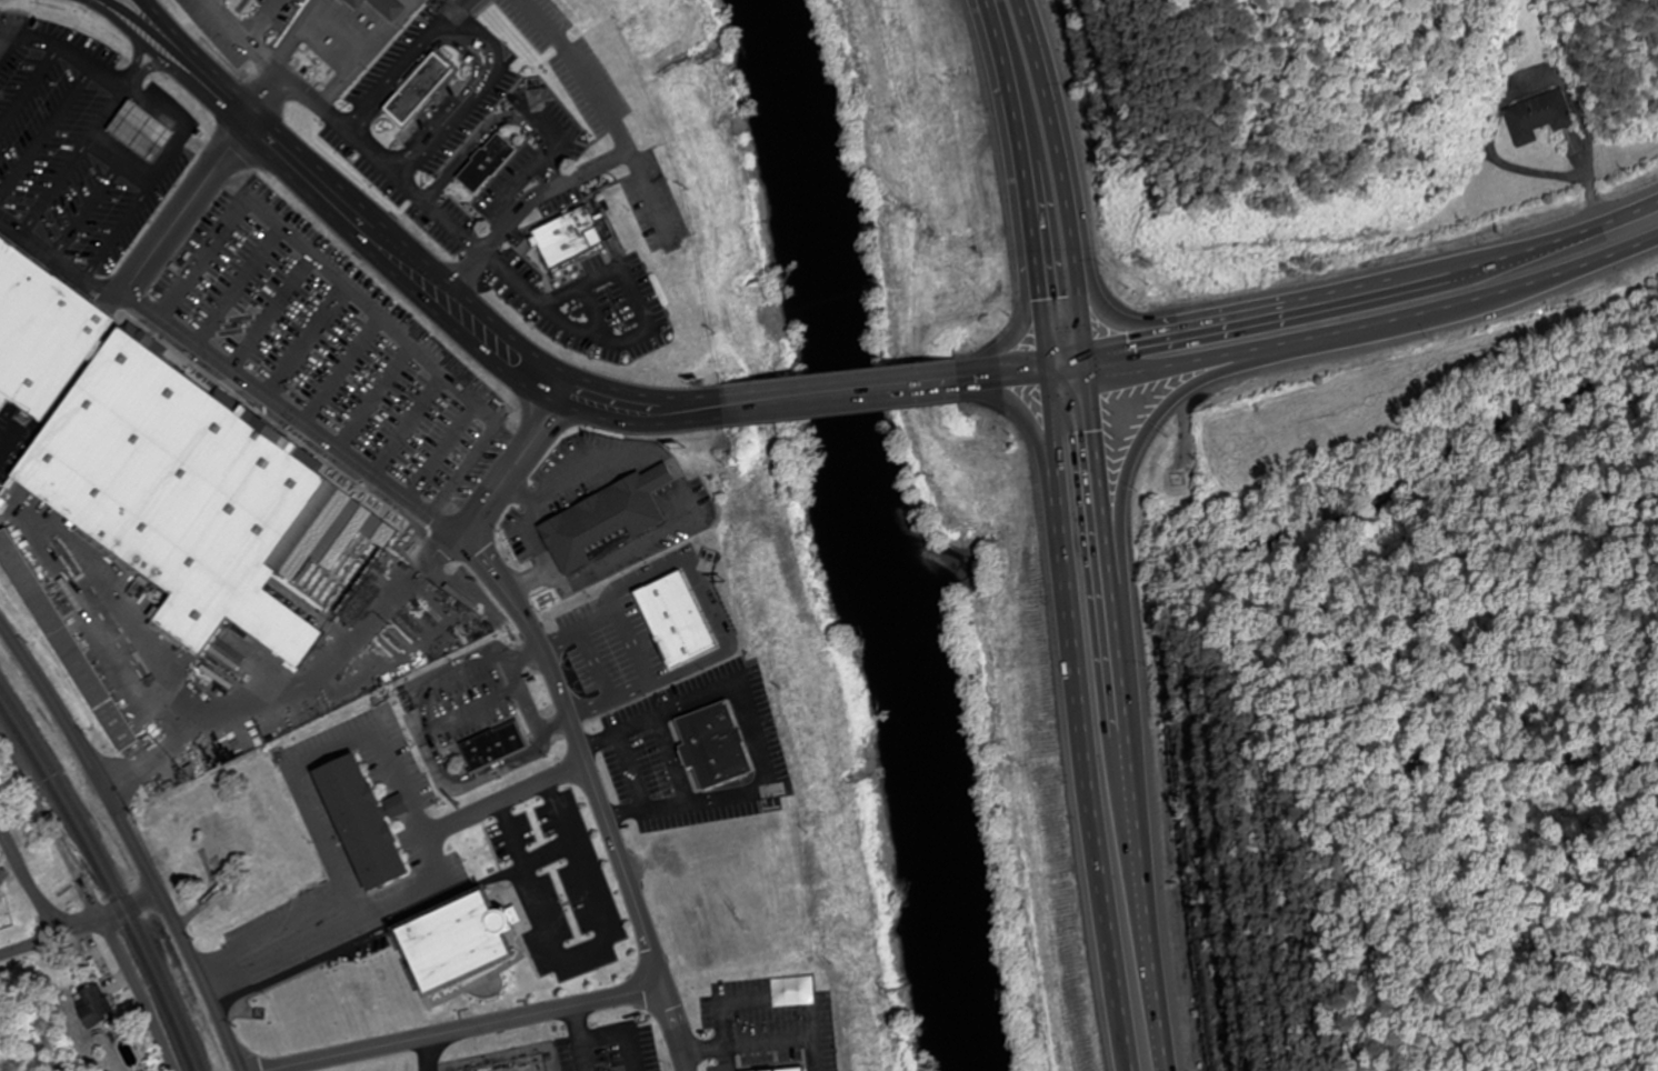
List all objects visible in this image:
building: (384, 10)
road: (459, 10)
road: (262, 20)
road: (169, 26)
road: (298, 33)
road: (1, 39)
road: (139, 41)
road: (478, 42)
road: (68, 50)
road: (370, 56)
road: (161, 57)
road: (28, 87)
building: (425, 88)
road: (610, 116)
building: (1540, 119)
road: (505, 120)
road: (344, 129)
road: (46, 130)
building: (148, 140)
gas station: (148, 140)
road: (80, 150)
building: (492, 163)
road: (1025, 186)
road: (516, 188)
road: (1066, 189)
road: (525, 209)
building: (572, 236)
road: (391, 252)
road: (1027, 262)
road: (61, 263)
building: (1622, 270)
road: (1358, 299)
road: (1490, 300)
road: (595, 311)
road: (1101, 313)
building: (28, 319)
road: (632, 339)
traffic signals: (1089, 353)
road: (208, 354)
road: (1186, 366)
traffic signals: (1056, 374)
road: (1010, 376)
traffic signals: (1093, 383)
road: (848, 394)
road: (1155, 424)
road: (1041, 433)
road: (1103, 493)
building: (198, 498)
building: (613, 526)
river: (878, 534)
building: (69, 641)
road: (308, 693)
road: (569, 708)
road: (1085, 723)
building: (499, 754)
building: (367, 829)
road: (1140, 837)
building: (226, 839)
road: (131, 841)
railway: (110, 867)
road: (24, 885)
road: (93, 891)
road: (79, 924)
building: (0, 929)
building: (467, 955)
building: (99, 1007)
road: (458, 1027)

